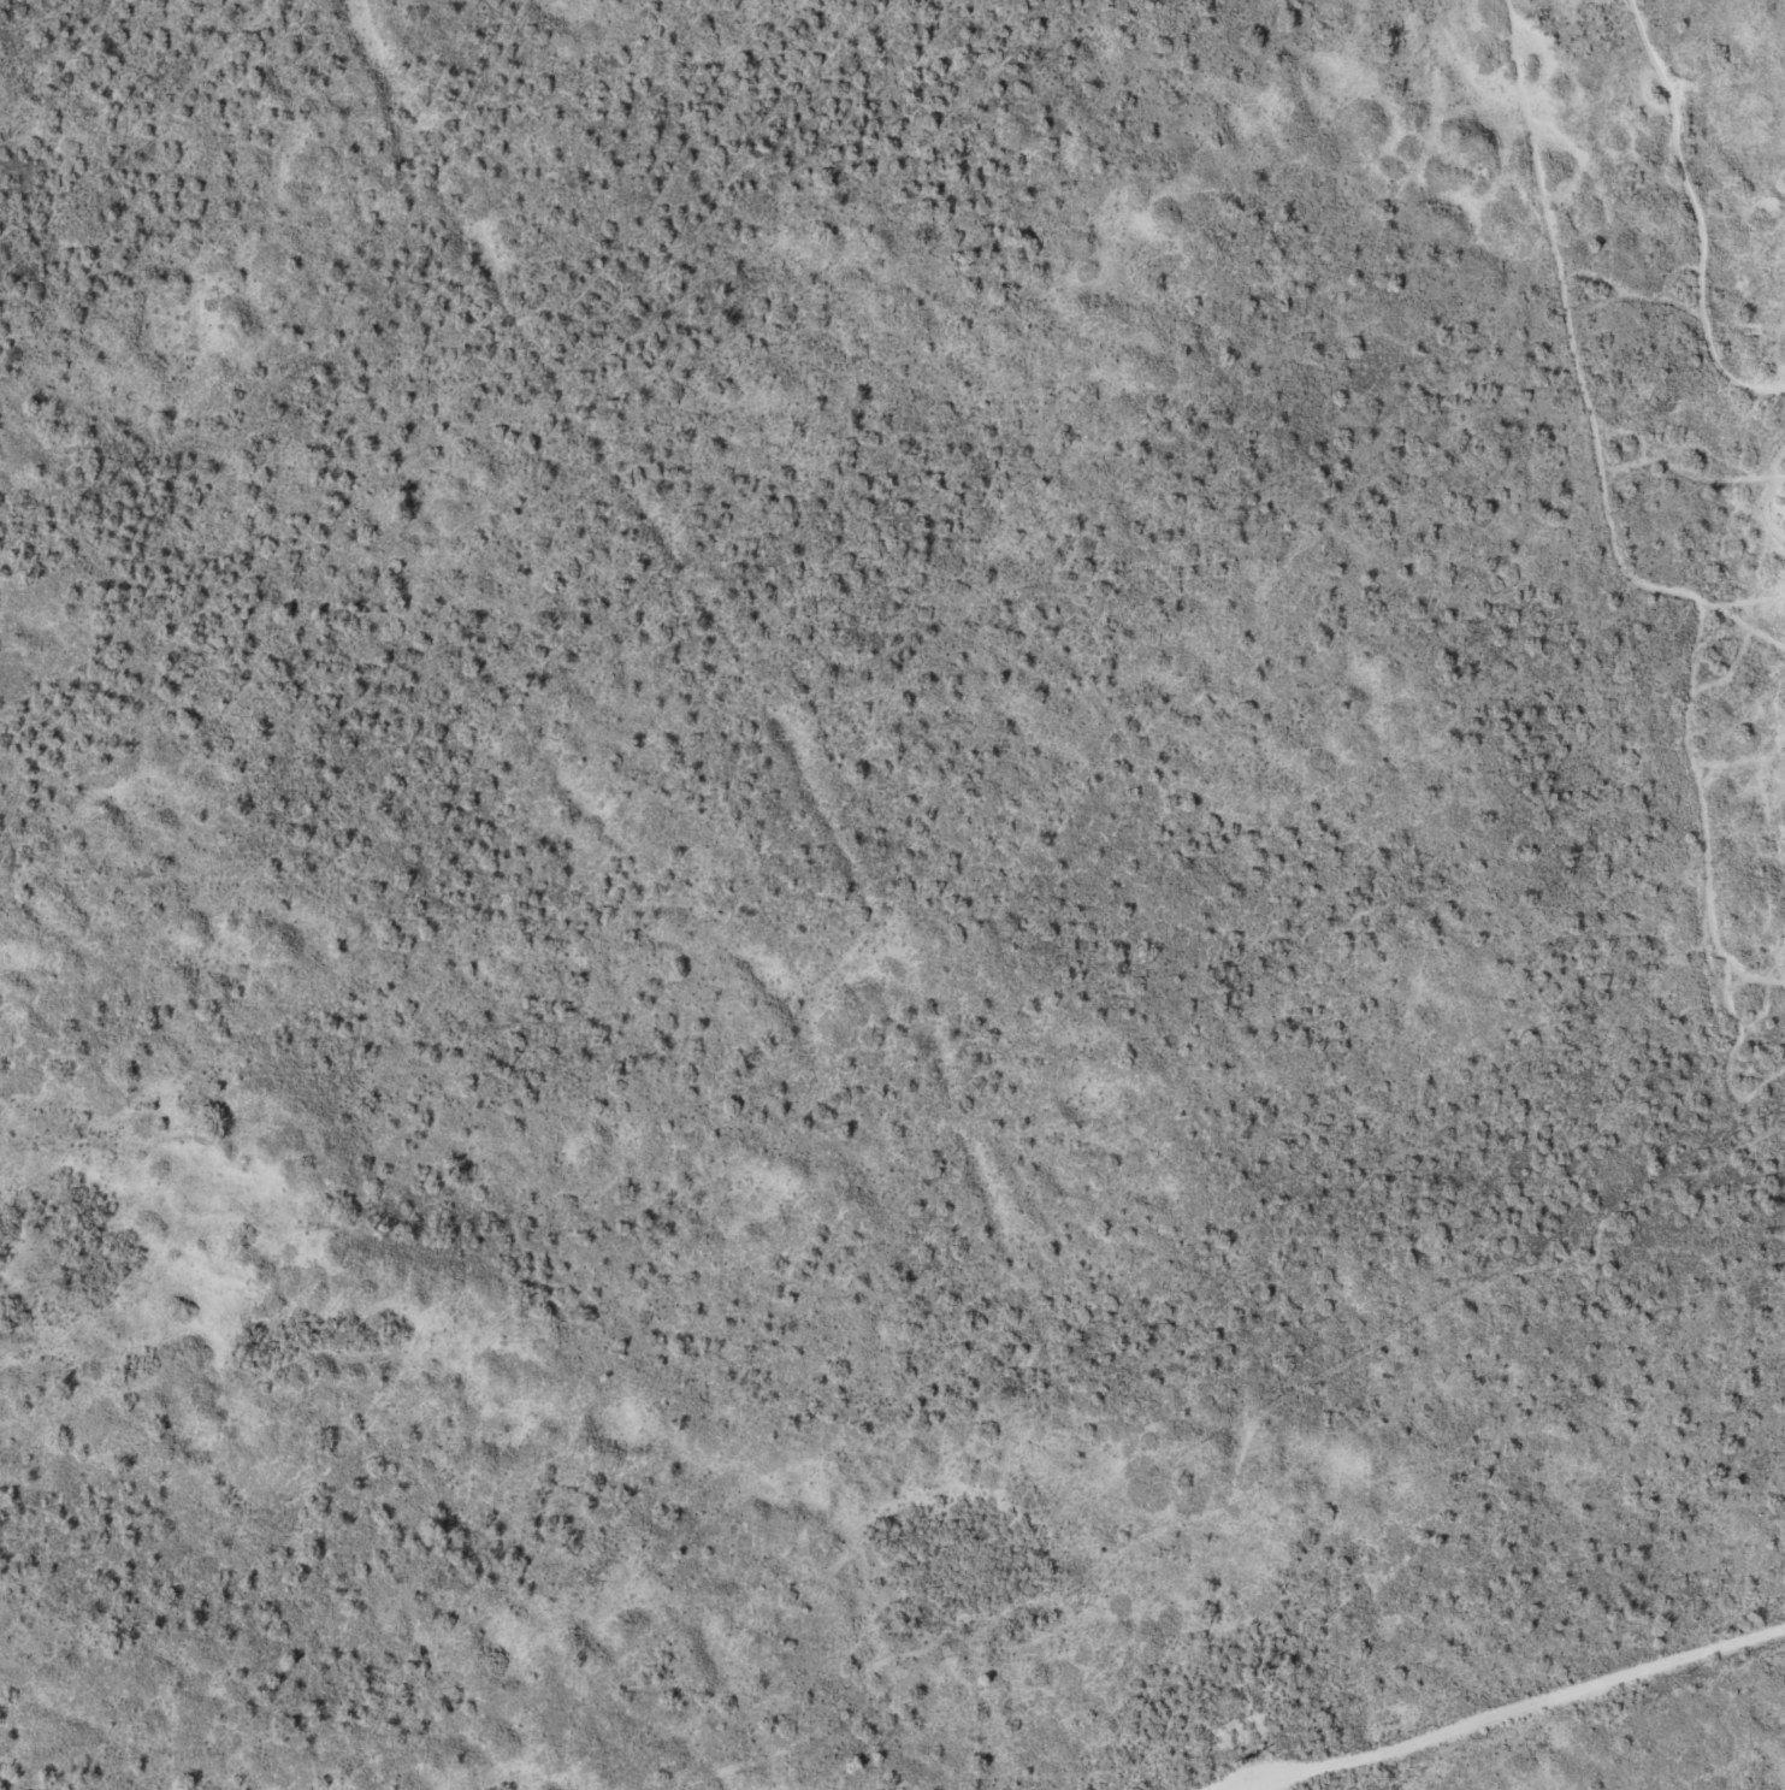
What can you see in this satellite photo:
road: (1511, 1705)

